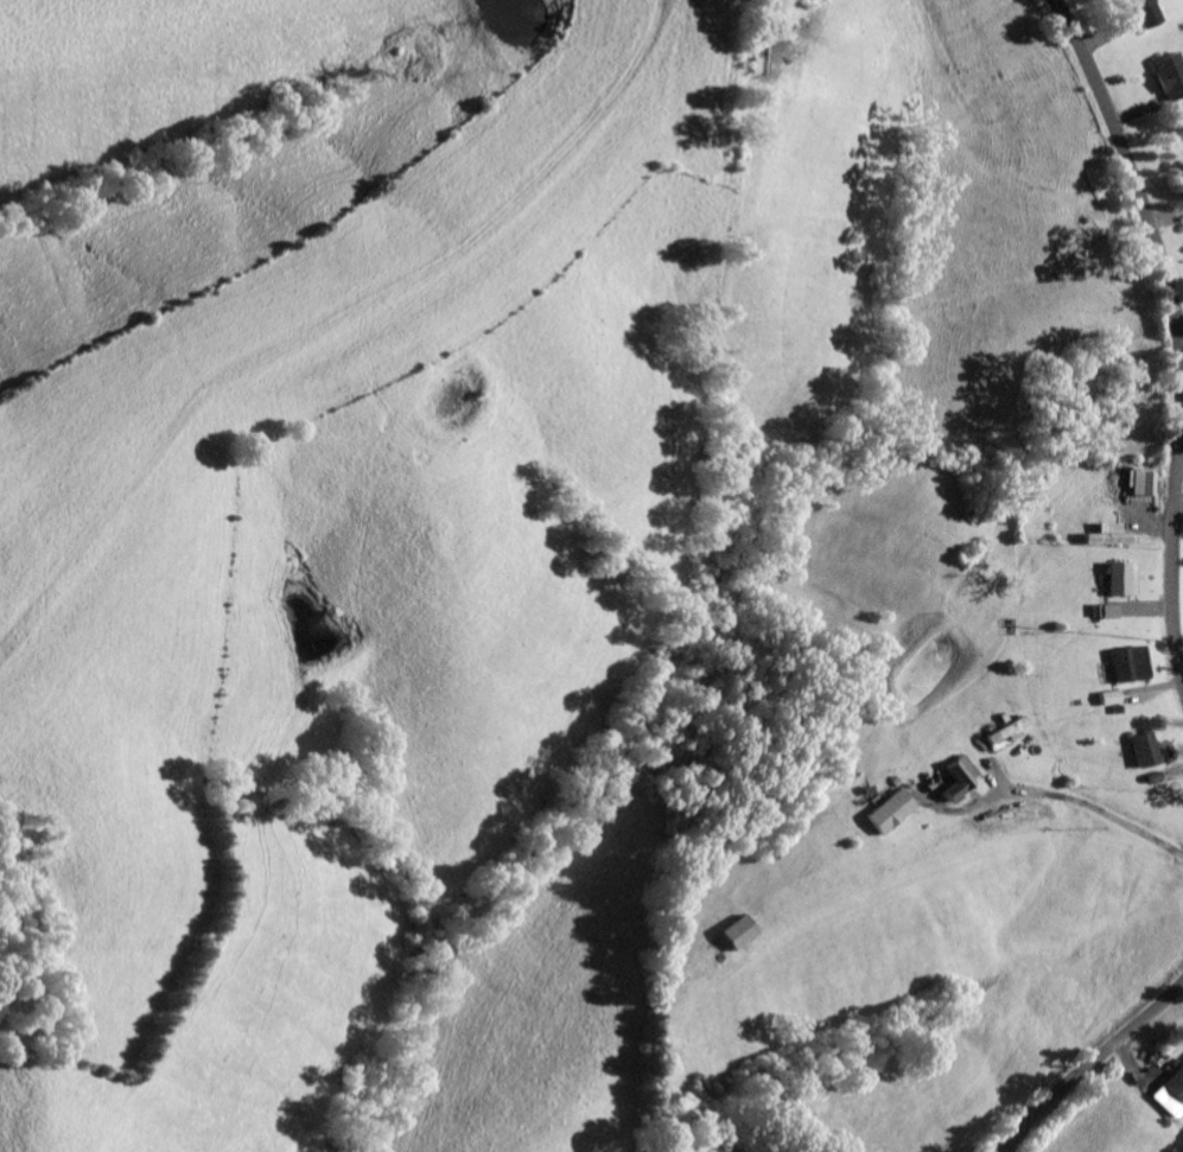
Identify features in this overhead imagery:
building: (1146, 12)
building: (1171, 74)
road: (1168, 359)
building: (1146, 482)
building: (1112, 534)
building: (1124, 578)
building: (1112, 610)
building: (1131, 661)
building: (1112, 695)
building: (1010, 728)
building: (1145, 746)
building: (962, 775)
building: (892, 808)
building: (742, 929)
road: (1081, 1054)
building: (1170, 1091)

